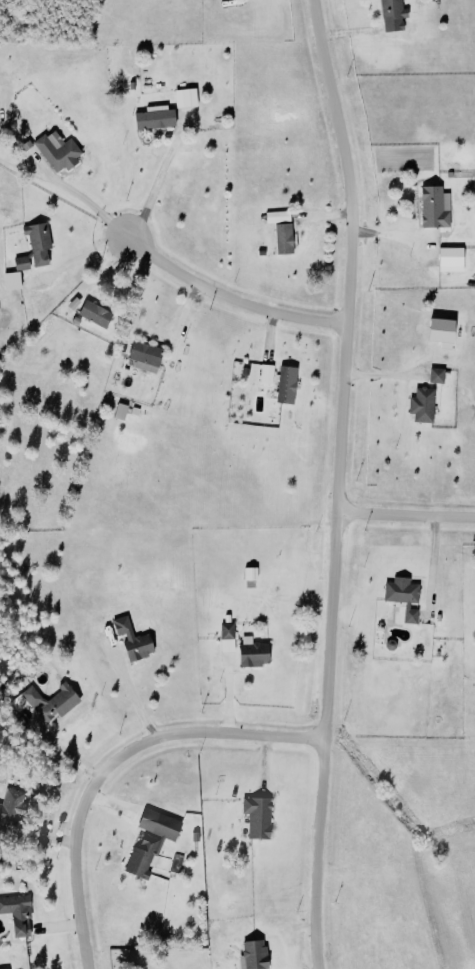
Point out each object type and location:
building: (392, 15)
building: (184, 98)
building: (154, 118)
building: (56, 151)
road: (150, 189)
road: (68, 192)
building: (433, 207)
building: (276, 217)
building: (282, 239)
building: (37, 243)
building: (449, 260)
building: (19, 264)
building: (10, 281)
road: (231, 299)
building: (72, 304)
building: (93, 314)
building: (438, 330)
building: (143, 357)
building: (265, 374)
building: (436, 376)
building: (285, 385)
building: (422, 406)
road: (335, 483)
road: (403, 516)
building: (402, 597)
building: (226, 632)
building: (130, 640)
building: (251, 654)
road: (133, 694)
building: (46, 703)
road: (59, 750)
road: (110, 760)
building: (10, 807)
building: (256, 817)
building: (148, 841)
building: (16, 915)
building: (252, 955)

